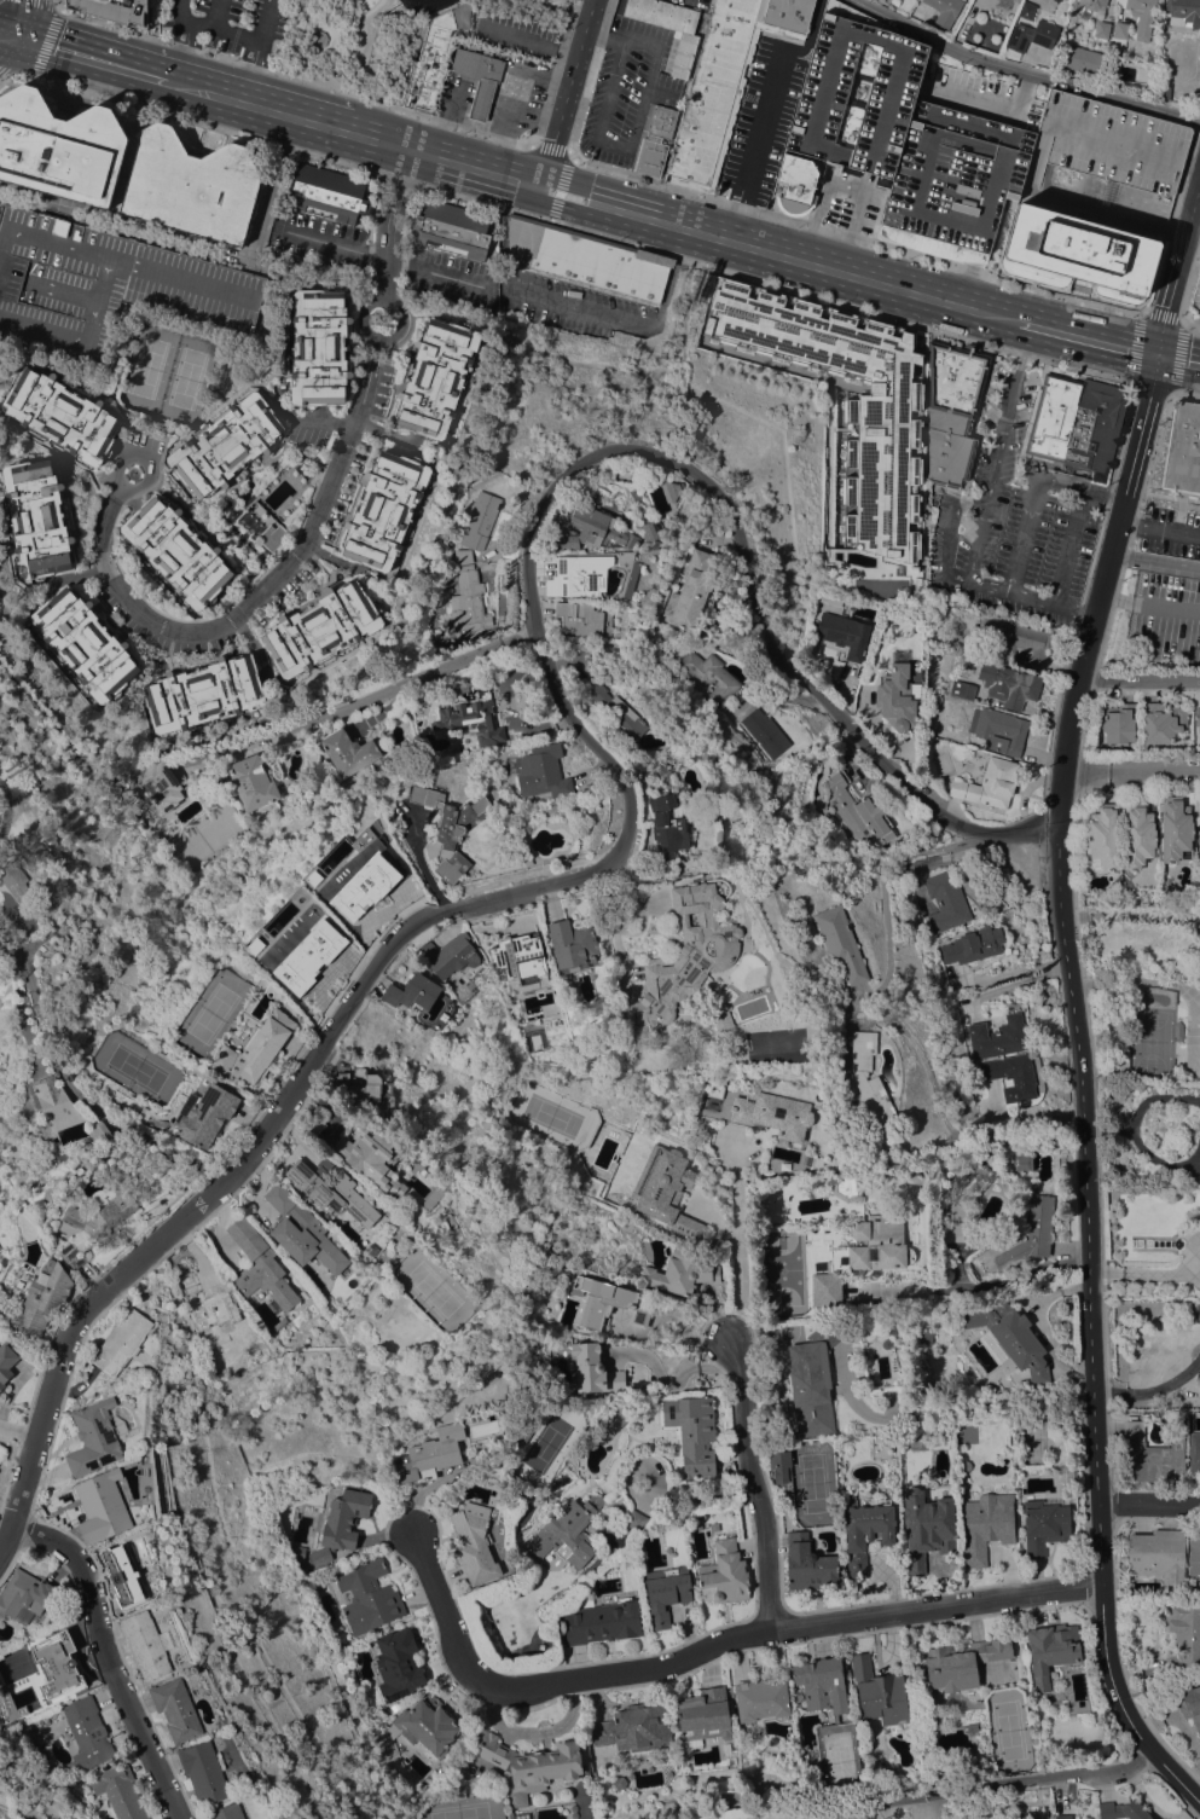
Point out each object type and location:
building: (881, 0)
building: (1059, 0)
building: (894, 1)
building: (1014, 1)
building: (1055, 1)
building: (1092, 4)
building: (1004, 5)
park: (534, 8)
building: (541, 8)
building: (115, 10)
building: (1026, 10)
building: (944, 11)
building: (1183, 12)
building: (1141, 16)
road: (15, 17)
road: (198, 27)
road: (47, 28)
building: (671, 28)
road: (220, 29)
building: (1101, 30)
road: (5, 31)
road: (260, 33)
traffic signals: (10, 34)
road: (343, 36)
building: (1031, 36)
building: (1119, 36)
road: (5, 40)
road: (619, 40)
road: (185, 41)
park: (359, 42)
road: (87, 56)
building: (1079, 59)
building: (428, 62)
road: (1024, 70)
road: (5, 73)
road: (286, 75)
road: (589, 75)
road: (5, 79)
building: (477, 79)
building: (724, 82)
road: (247, 83)
road: (609, 88)
building: (1161, 91)
road: (566, 92)
building: (857, 94)
road: (545, 98)
road: (256, 105)
road: (637, 115)
building: (655, 141)
road: (755, 146)
road: (547, 149)
building: (126, 167)
building: (822, 176)
road: (269, 181)
building: (953, 181)
building: (795, 183)
road: (842, 186)
building: (329, 193)
building: (1095, 197)
road: (1170, 218)
road: (688, 226)
road: (572, 227)
road: (129, 230)
building: (452, 230)
road: (852, 237)
building: (585, 259)
road: (388, 260)
road: (1176, 266)
road: (1189, 283)
building: (103, 290)
building: (1195, 294)
road: (575, 306)
road: (1142, 315)
building: (373, 319)
road: (1189, 323)
road: (1091, 338)
building: (318, 348)
traffic signals: (1156, 354)
road: (1177, 359)
building: (436, 377)
road: (1184, 394)
building: (846, 402)
building: (952, 411)
building: (62, 416)
building: (1051, 416)
building: (1094, 430)
building: (226, 445)
road: (997, 451)
building: (1183, 451)
building: (636, 475)
building: (672, 489)
road: (1032, 494)
road: (1140, 494)
road: (1107, 498)
building: (384, 510)
building: (36, 519)
building: (480, 521)
road: (311, 522)
building: (263, 526)
road: (1159, 529)
building: (649, 531)
building: (593, 532)
road: (1068, 549)
building: (176, 551)
building: (463, 556)
road: (1154, 561)
building: (579, 575)
road: (74, 577)
road: (973, 581)
building: (690, 591)
building: (502, 601)
road: (1148, 604)
building: (462, 608)
building: (726, 616)
building: (579, 618)
building: (320, 628)
building: (842, 631)
building: (1018, 639)
building: (85, 644)
building: (437, 651)
building: (709, 676)
road: (1140, 677)
building: (1009, 685)
building: (453, 687)
building: (962, 690)
building: (203, 694)
road: (369, 697)
building: (895, 697)
building: (616, 712)
building: (470, 717)
building: (1198, 717)
building: (1160, 723)
building: (1118, 724)
building: (998, 730)
building: (765, 732)
building: (347, 752)
road: (1131, 767)
building: (543, 772)
building: (251, 782)
building: (989, 784)
building: (155, 787)
road: (628, 789)
road: (4, 806)
building: (856, 811)
building: (667, 825)
building: (448, 829)
building: (1175, 830)
building: (1199, 830)
building: (1103, 838)
building: (1137, 838)
building: (360, 839)
road: (887, 870)
building: (653, 874)
building: (637, 875)
building: (364, 887)
building: (19, 891)
building: (945, 902)
building: (1198, 904)
building: (840, 944)
building: (325, 945)
building: (572, 945)
building: (973, 945)
building: (448, 955)
building: (684, 956)
building: (517, 960)
road: (1138, 979)
building: (411, 992)
building: (720, 1020)
building: (1177, 1031)
building: (997, 1037)
building: (255, 1049)
building: (1010, 1076)
road: (69, 1084)
building: (869, 1085)
road: (1083, 1085)
building: (360, 1087)
building: (54, 1101)
building: (711, 1105)
building: (772, 1113)
building: (204, 1114)
building: (312, 1124)
building: (100, 1134)
building: (370, 1157)
building: (1022, 1163)
building: (912, 1178)
building: (737, 1182)
building: (845, 1184)
building: (966, 1189)
building: (666, 1191)
building: (332, 1194)
building: (279, 1198)
building: (95, 1221)
building: (951, 1232)
building: (1031, 1234)
building: (307, 1239)
building: (860, 1257)
building: (260, 1268)
road: (1146, 1271)
building: (679, 1273)
road: (740, 1274)
road: (972, 1287)
building: (44, 1298)
building: (605, 1304)
building: (208, 1305)
building: (924, 1337)
building: (1009, 1339)
building: (121, 1342)
building: (6, 1363)
building: (973, 1363)
road: (674, 1365)
building: (592, 1369)
building: (812, 1379)
road: (1152, 1390)
road: (736, 1392)
building: (614, 1421)
building: (524, 1429)
road: (17, 1431)
building: (692, 1432)
building: (93, 1439)
building: (430, 1454)
building: (1194, 1454)
building: (1152, 1456)
building: (964, 1466)
building: (781, 1470)
building: (1066, 1472)
road: (1147, 1501)
building: (102, 1506)
building: (344, 1518)
building: (634, 1520)
building: (1044, 1524)
building: (986, 1525)
building: (926, 1529)
building: (568, 1531)
building: (864, 1531)
road: (765, 1536)
building: (474, 1543)
building: (296, 1553)
building: (1158, 1556)
building: (319, 1557)
building: (1194, 1558)
building: (807, 1563)
building: (724, 1574)
building: (124, 1576)
building: (665, 1593)
building: (367, 1594)
building: (24, 1597)
building: (602, 1623)
building: (1183, 1635)
building: (145, 1645)
building: (1050, 1651)
road: (711, 1652)
road: (116, 1657)
building: (396, 1663)
building: (961, 1663)
building: (58, 1667)
building: (822, 1684)
building: (879, 1692)
building: (761, 1699)
building: (1190, 1704)
building: (175, 1710)
building: (703, 1715)
building: (425, 1725)
building: (634, 1728)
building: (86, 1736)
building: (812, 1756)
building: (524, 1763)
building: (203, 1773)
building: (816, 1775)
building: (118, 1791)
building: (454, 1791)
road: (992, 1795)
building: (1121, 1811)
building: (226, 1812)
building: (1033, 1814)
road: (869, 1815)
building: (1061, 1818)

